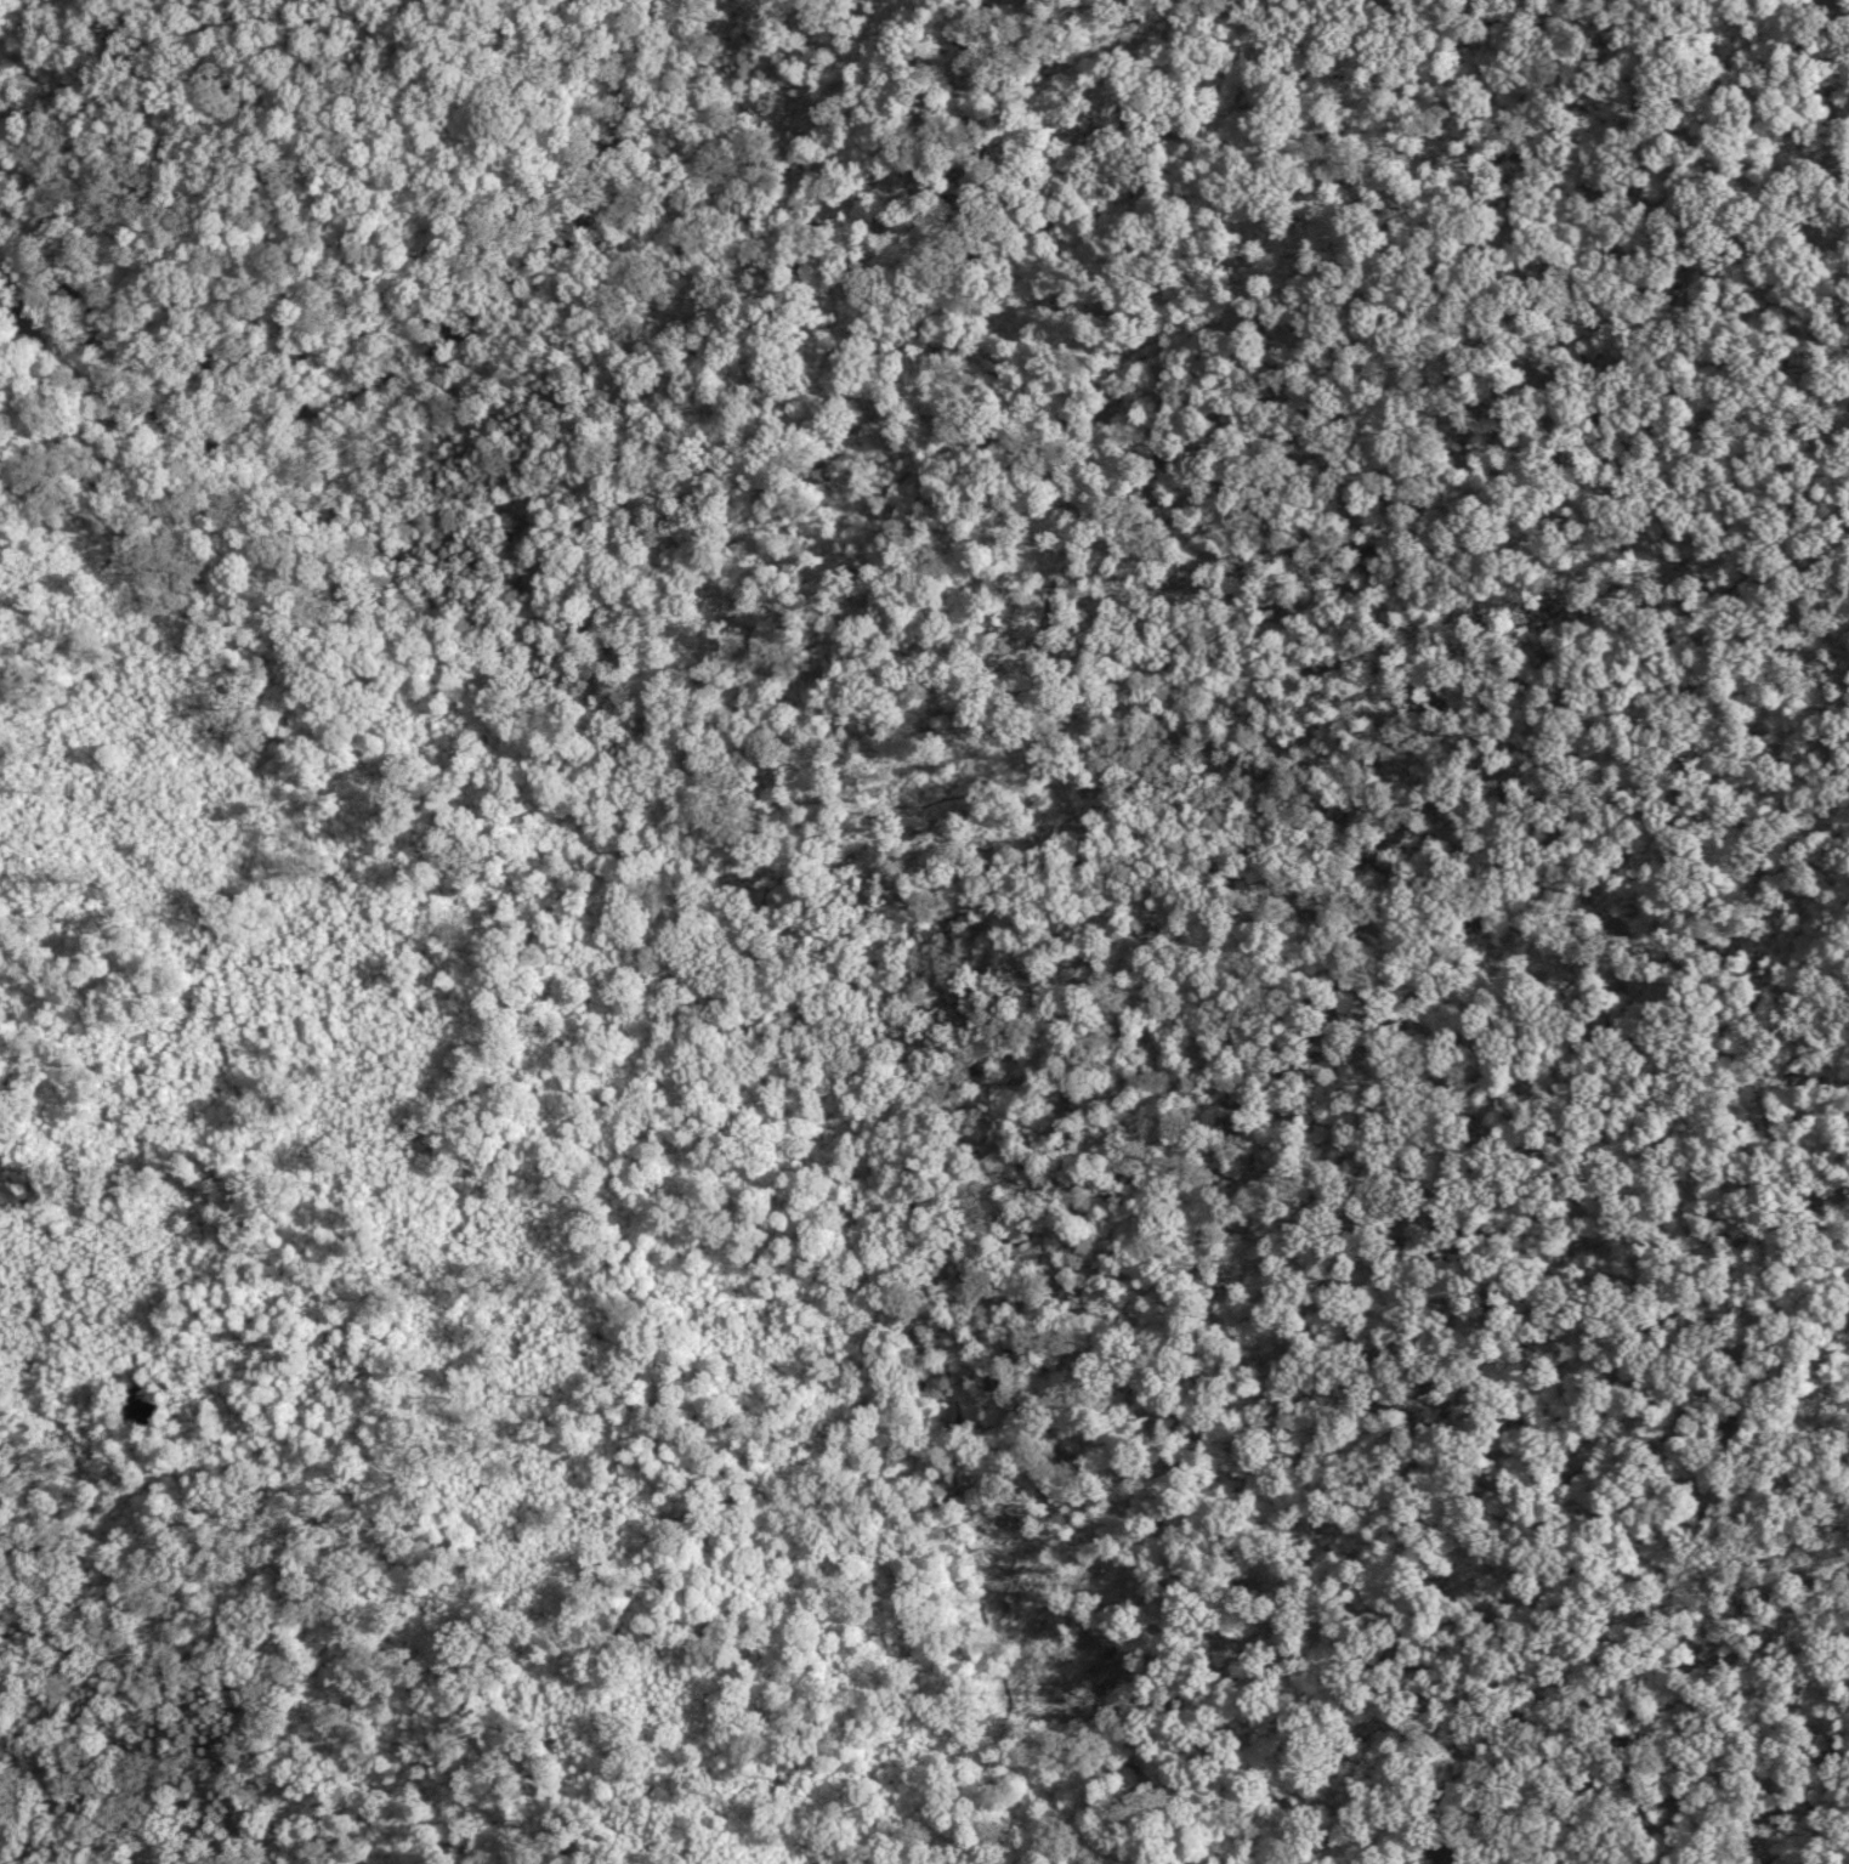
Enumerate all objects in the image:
park: (277, 199)

